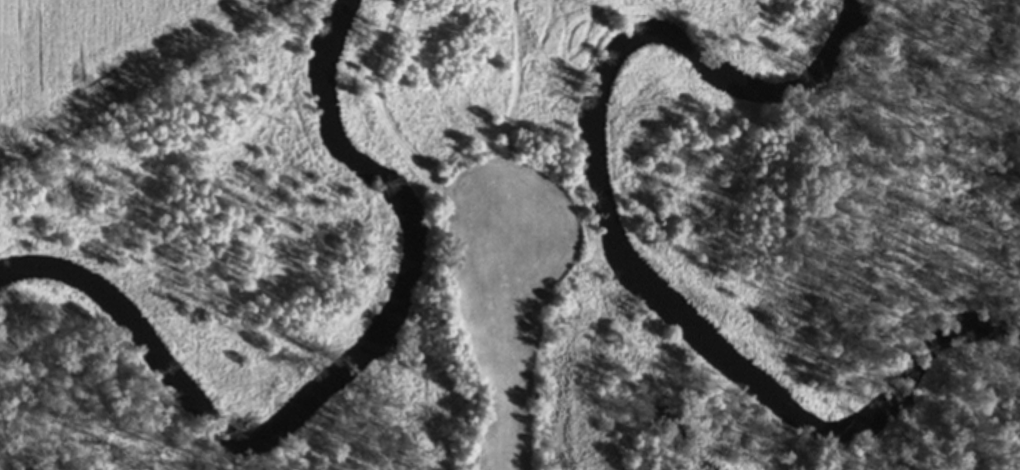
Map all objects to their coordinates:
river: (614, 235)
river: (343, 378)

